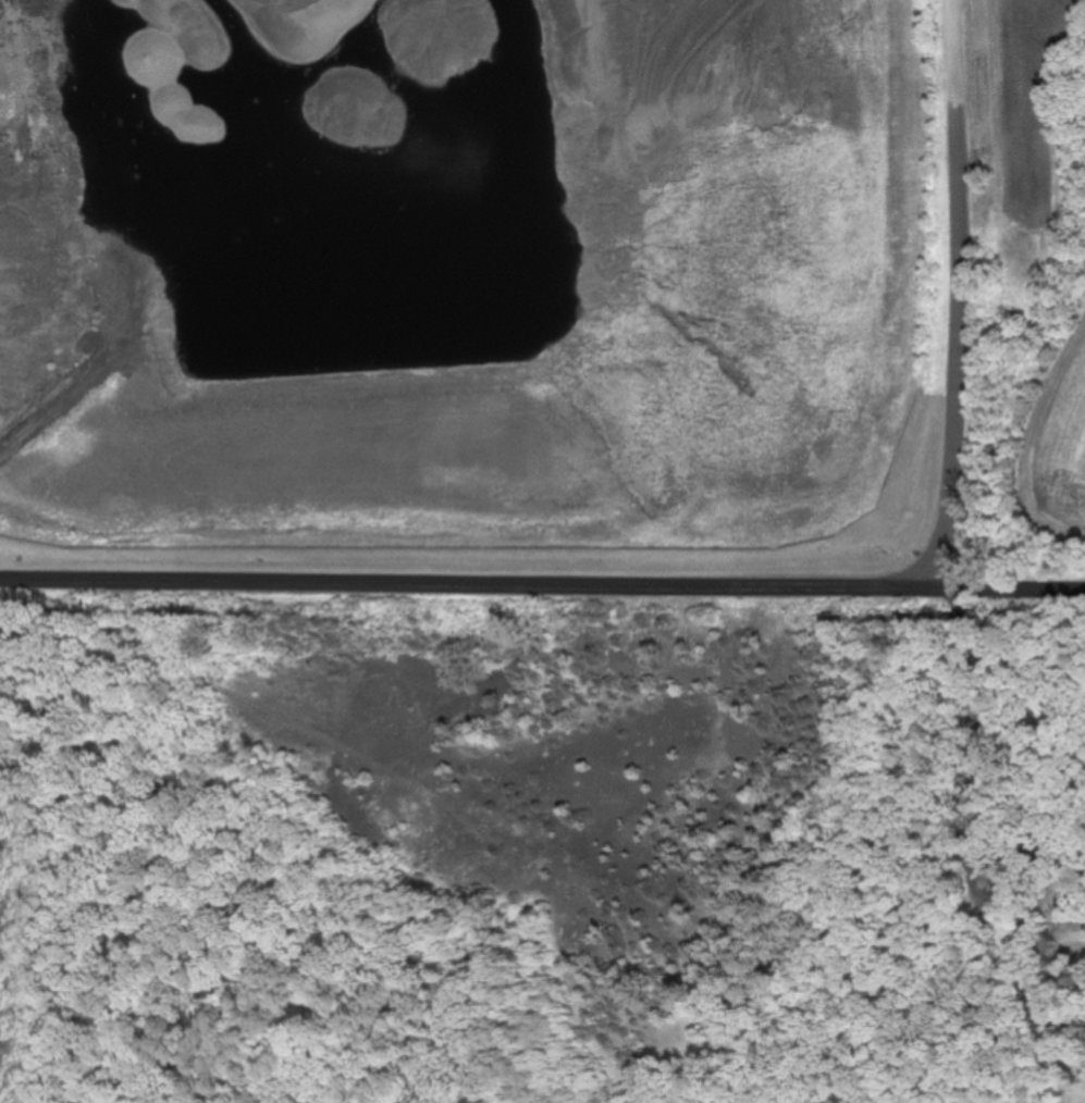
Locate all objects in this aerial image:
road: (952, 290)
road: (542, 582)
road: (974, 808)

